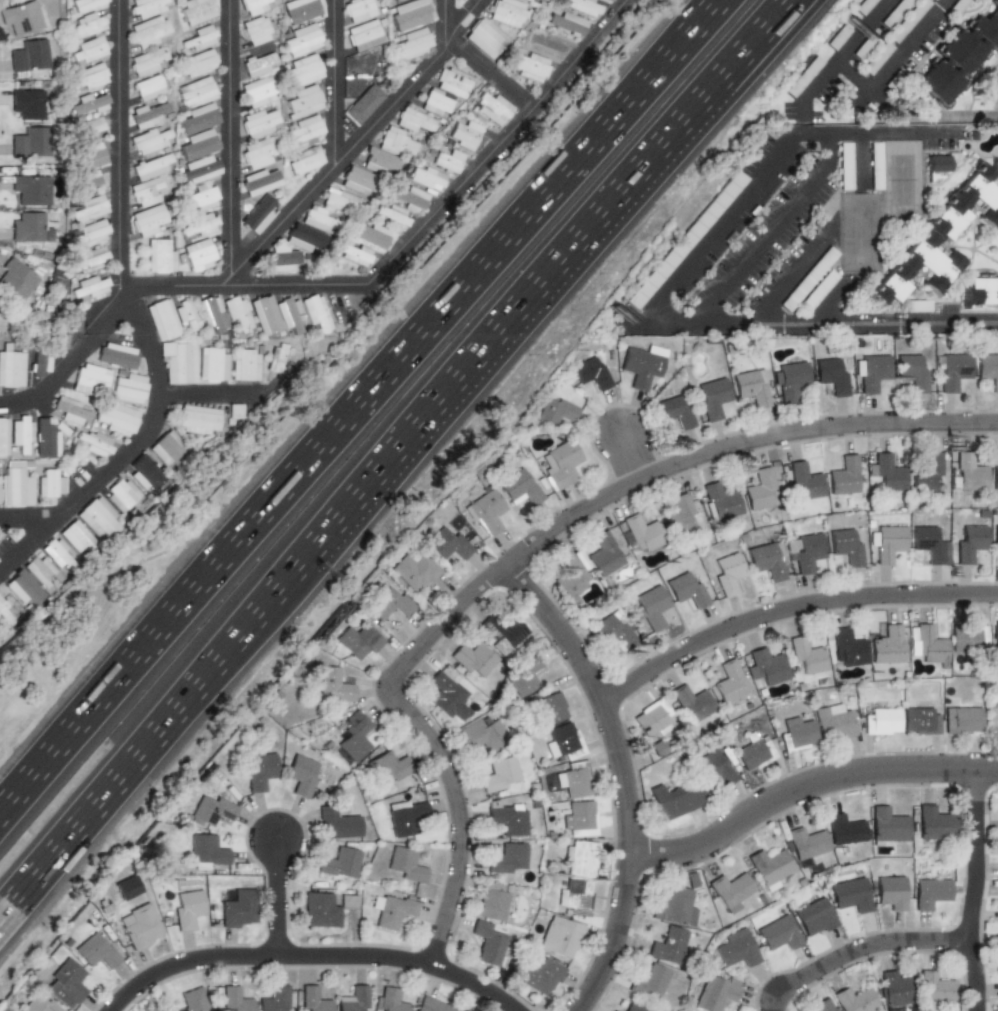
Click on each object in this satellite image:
building: (394, 0)
building: (528, 0)
building: (543, 0)
building: (610, 0)
building: (84, 4)
building: (253, 6)
building: (959, 6)
building: (147, 7)
building: (582, 7)
building: (196, 10)
building: (299, 10)
building: (358, 10)
building: (508, 12)
building: (896, 12)
building: (410, 14)
building: (22, 17)
building: (909, 20)
road: (447, 21)
building: (566, 23)
building: (86, 26)
building: (256, 30)
building: (148, 31)
road: (765, 32)
building: (364, 35)
road: (775, 35)
building: (839, 37)
building: (200, 38)
building: (486, 38)
building: (302, 40)
building: (412, 43)
building: (866, 46)
road: (846, 48)
building: (89, 50)
road: (900, 52)
building: (29, 56)
building: (958, 56)
building: (878, 58)
building: (146, 62)
building: (197, 63)
building: (257, 64)
building: (528, 66)
building: (303, 70)
road: (489, 74)
road: (853, 74)
building: (88, 76)
building: (804, 76)
road: (338, 81)
building: (453, 83)
building: (148, 88)
building: (196, 92)
building: (258, 92)
building: (303, 102)
building: (436, 102)
building: (27, 103)
building: (88, 104)
building: (364, 104)
building: (492, 108)
road: (805, 108)
road: (929, 114)
building: (146, 116)
building: (198, 119)
building: (414, 121)
building: (260, 123)
building: (88, 127)
building: (304, 130)
road: (826, 130)
road: (907, 131)
building: (464, 134)
road: (359, 139)
building: (151, 140)
building: (29, 142)
building: (396, 142)
road: (123, 143)
road: (230, 143)
building: (197, 144)
building: (258, 152)
building: (89, 157)
road: (859, 159)
building: (305, 160)
building: (448, 161)
building: (380, 163)
building: (846, 166)
building: (875, 166)
building: (150, 167)
building: (936, 167)
building: (198, 169)
building: (426, 179)
building: (356, 180)
building: (87, 181)
building: (260, 181)
building: (31, 189)
building: (146, 192)
building: (411, 198)
building: (200, 199)
building: (340, 201)
building: (89, 209)
building: (390, 214)
building: (258, 215)
building: (318, 219)
building: (147, 220)
building: (198, 226)
building: (28, 227)
road: (716, 228)
road: (769, 229)
road: (413, 231)
building: (90, 233)
building: (370, 235)
building: (942, 236)
building: (304, 238)
building: (685, 240)
building: (199, 254)
building: (355, 255)
building: (159, 257)
building: (90, 260)
road: (792, 273)
building: (808, 278)
building: (16, 279)
building: (89, 287)
building: (818, 289)
building: (980, 291)
building: (918, 306)
building: (237, 312)
building: (316, 312)
building: (211, 313)
building: (186, 315)
building: (265, 315)
building: (290, 315)
road: (522, 316)
building: (162, 319)
road: (746, 320)
road: (926, 322)
building: (116, 355)
building: (280, 358)
building: (39, 362)
building: (179, 362)
road: (76, 364)
building: (213, 364)
building: (643, 365)
building: (246, 366)
building: (986, 367)
building: (11, 369)
building: (954, 371)
building: (871, 372)
building: (911, 372)
building: (591, 373)
building: (831, 376)
building: (91, 379)
building: (790, 380)
building: (129, 387)
building: (752, 388)
road: (215, 396)
building: (712, 399)
road: (357, 404)
building: (70, 410)
building: (236, 410)
building: (557, 410)
building: (675, 412)
building: (116, 417)
building: (199, 419)
building: (20, 433)
building: (3, 436)
building: (45, 439)
building: (94, 442)
building: (169, 449)
road: (133, 452)
road: (635, 458)
building: (562, 464)
building: (928, 471)
building: (887, 472)
building: (969, 472)
building: (147, 473)
building: (844, 474)
building: (995, 476)
building: (806, 479)
building: (51, 483)
building: (17, 484)
building: (520, 488)
building: (761, 488)
building: (122, 495)
building: (721, 500)
building: (487, 512)
building: (680, 515)
building: (98, 517)
road: (32, 519)
building: (644, 533)
building: (996, 534)
building: (78, 536)
building: (971, 543)
building: (888, 544)
building: (930, 544)
building: (448, 545)
building: (848, 546)
road: (527, 548)
building: (806, 552)
building: (60, 553)
building: (604, 554)
building: (768, 561)
building: (413, 570)
building: (41, 571)
building: (573, 574)
building: (729, 574)
building: (25, 587)
building: (687, 592)
building: (389, 603)
road: (788, 606)
building: (653, 609)
building: (7, 612)
building: (614, 631)
building: (503, 632)
building: (968, 638)
building: (995, 638)
building: (358, 640)
building: (886, 645)
building: (926, 646)
building: (846, 647)
building: (806, 656)
building: (472, 660)
building: (765, 666)
building: (522, 677)
building: (729, 682)
building: (335, 685)
building: (445, 692)
building: (691, 702)
building: (551, 707)
building: (651, 718)
building: (961, 720)
building: (992, 720)
building: (881, 721)
building: (919, 721)
building: (834, 722)
building: (482, 734)
building: (797, 734)
building: (356, 735)
building: (562, 740)
road: (153, 747)
building: (658, 747)
building: (753, 753)
building: (717, 767)
building: (394, 769)
building: (260, 771)
building: (500, 774)
building: (302, 775)
road: (620, 777)
building: (576, 778)
road: (805, 784)
building: (676, 800)
building: (213, 810)
building: (406, 816)
building: (582, 818)
building: (506, 819)
building: (336, 823)
building: (931, 823)
building: (889, 824)
building: (845, 829)
building: (807, 843)
building: (207, 851)
building: (580, 858)
building: (507, 860)
building: (340, 862)
building: (408, 864)
building: (769, 867)
building: (127, 887)
building: (731, 890)
road: (980, 890)
building: (892, 892)
building: (930, 892)
building: (852, 894)
building: (575, 897)
building: (349, 900)
road: (286, 901)
building: (492, 902)
building: (675, 907)
building: (238, 908)
building: (188, 909)
building: (321, 910)
building: (393, 910)
building: (815, 918)
building: (140, 926)
building: (779, 933)
building: (561, 937)
building: (486, 942)
building: (668, 945)
building: (738, 948)
building: (97, 951)
road: (866, 953)
road: (310, 957)
building: (540, 976)
building: (66, 983)
building: (650, 983)
building: (935, 987)
building: (893, 990)
building: (716, 991)
building: (315, 998)
building: (353, 998)
building: (236, 999)
building: (274, 999)
building: (390, 999)
building: (194, 1000)
building: (856, 1000)
building: (39, 1005)
building: (432, 1005)
building: (822, 1005)
building: (639, 1006)
building: (616, 1010)

